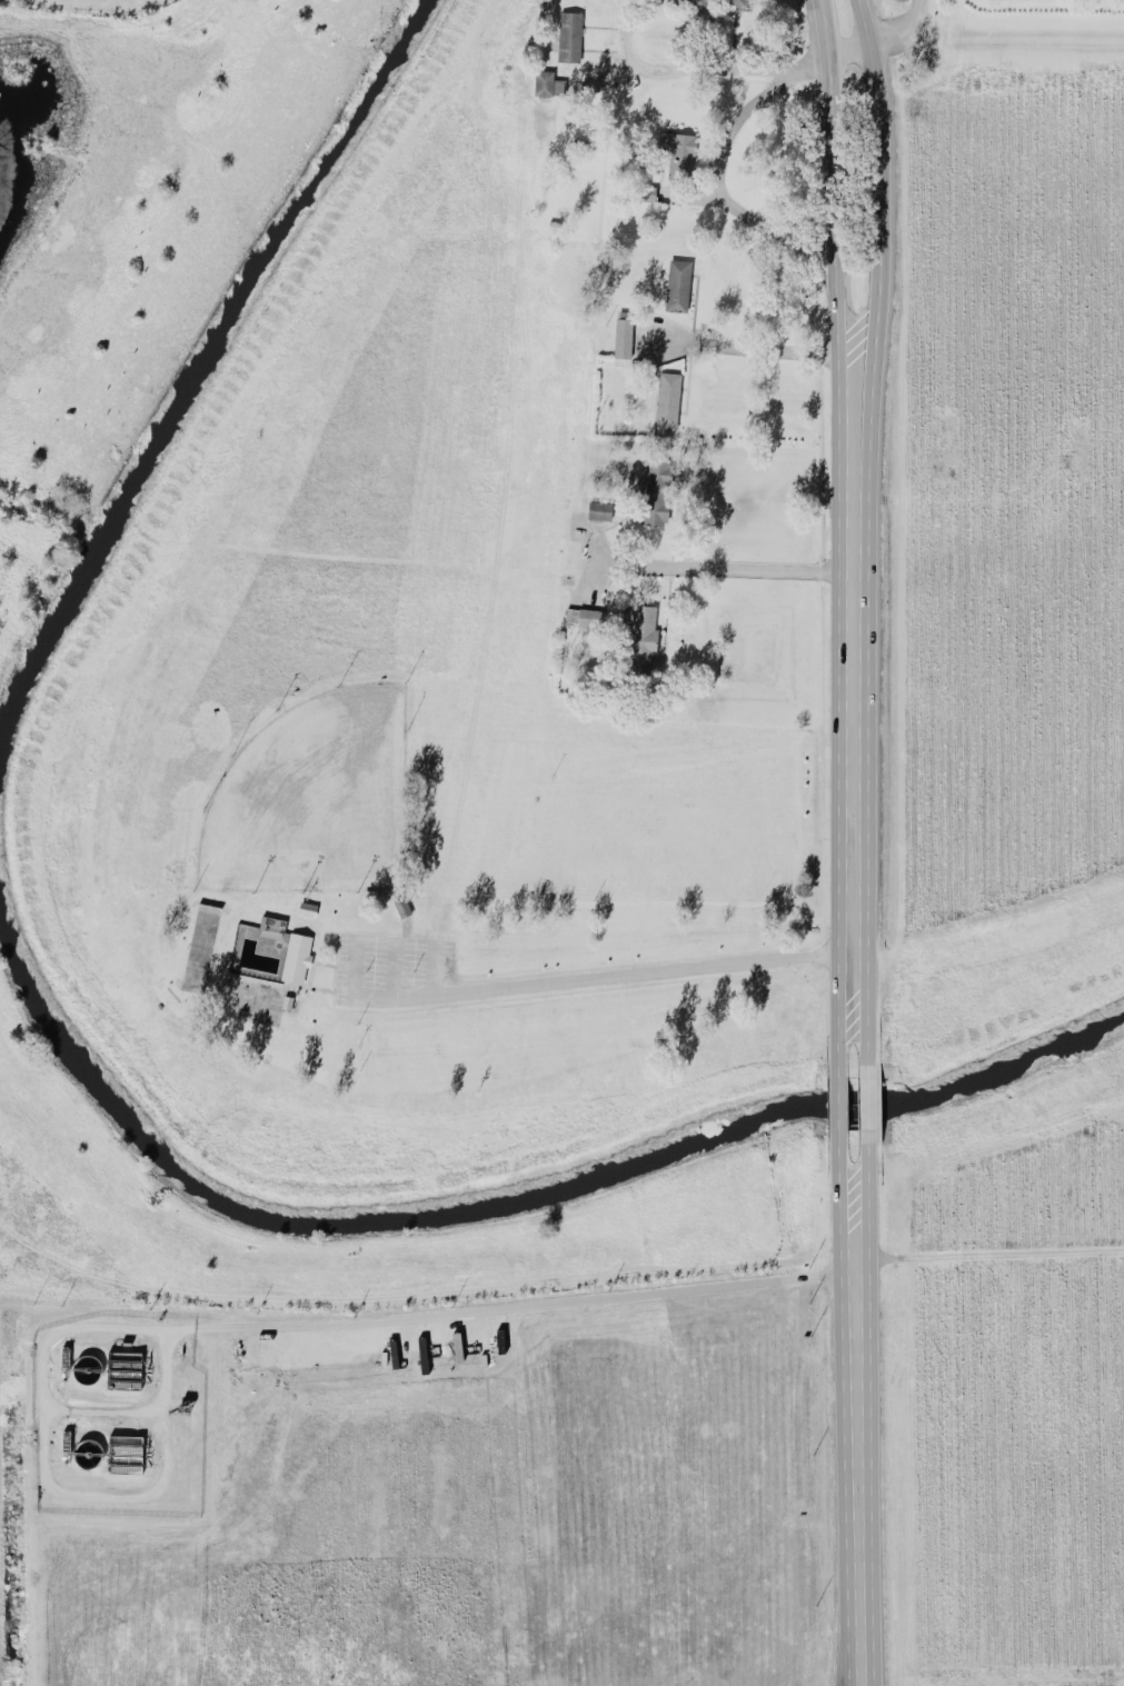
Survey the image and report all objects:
building: (714, 2)
road: (865, 21)
road: (825, 27)
road: (903, 30)
road: (636, 34)
building: (569, 36)
road: (851, 49)
road: (736, 74)
road: (611, 79)
building: (544, 81)
building: (678, 152)
road: (716, 186)
building: (645, 191)
road: (878, 196)
road: (832, 201)
building: (677, 285)
building: (623, 337)
road: (766, 348)
river: (207, 378)
building: (666, 401)
building: (655, 491)
building: (599, 509)
road: (727, 567)
building: (585, 616)
building: (641, 637)
road: (851, 676)
building: (307, 907)
building: (271, 922)
building: (296, 956)
road: (537, 982)
road: (859, 1028)
road: (845, 1029)
river: (954, 1084)
road: (866, 1103)
road: (837, 1104)
road: (845, 1175)
road: (859, 1175)
river: (306, 1215)
road: (988, 1253)
road: (233, 1323)
building: (125, 1367)
crop: (1017, 1408)
road: (99, 1409)
road: (855, 1438)
building: (125, 1453)

